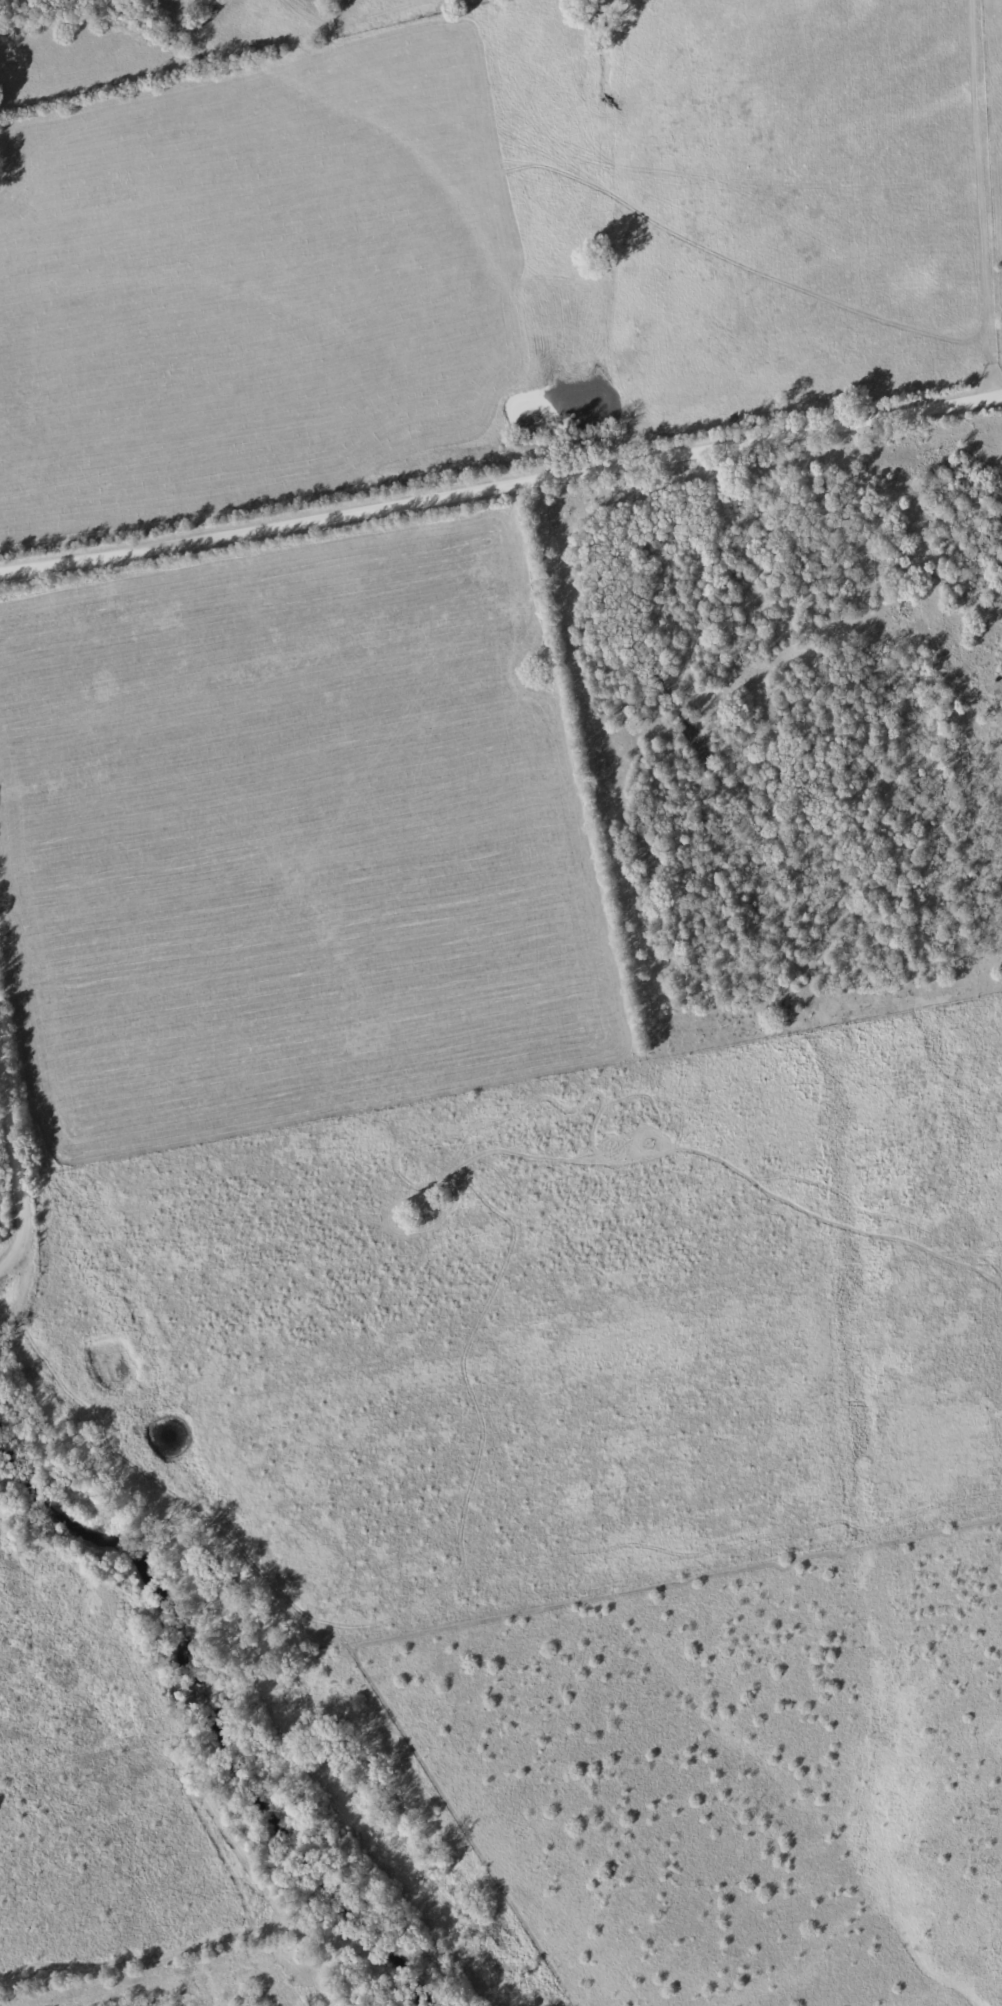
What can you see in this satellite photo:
road: (501, 489)
road: (22, 1164)

